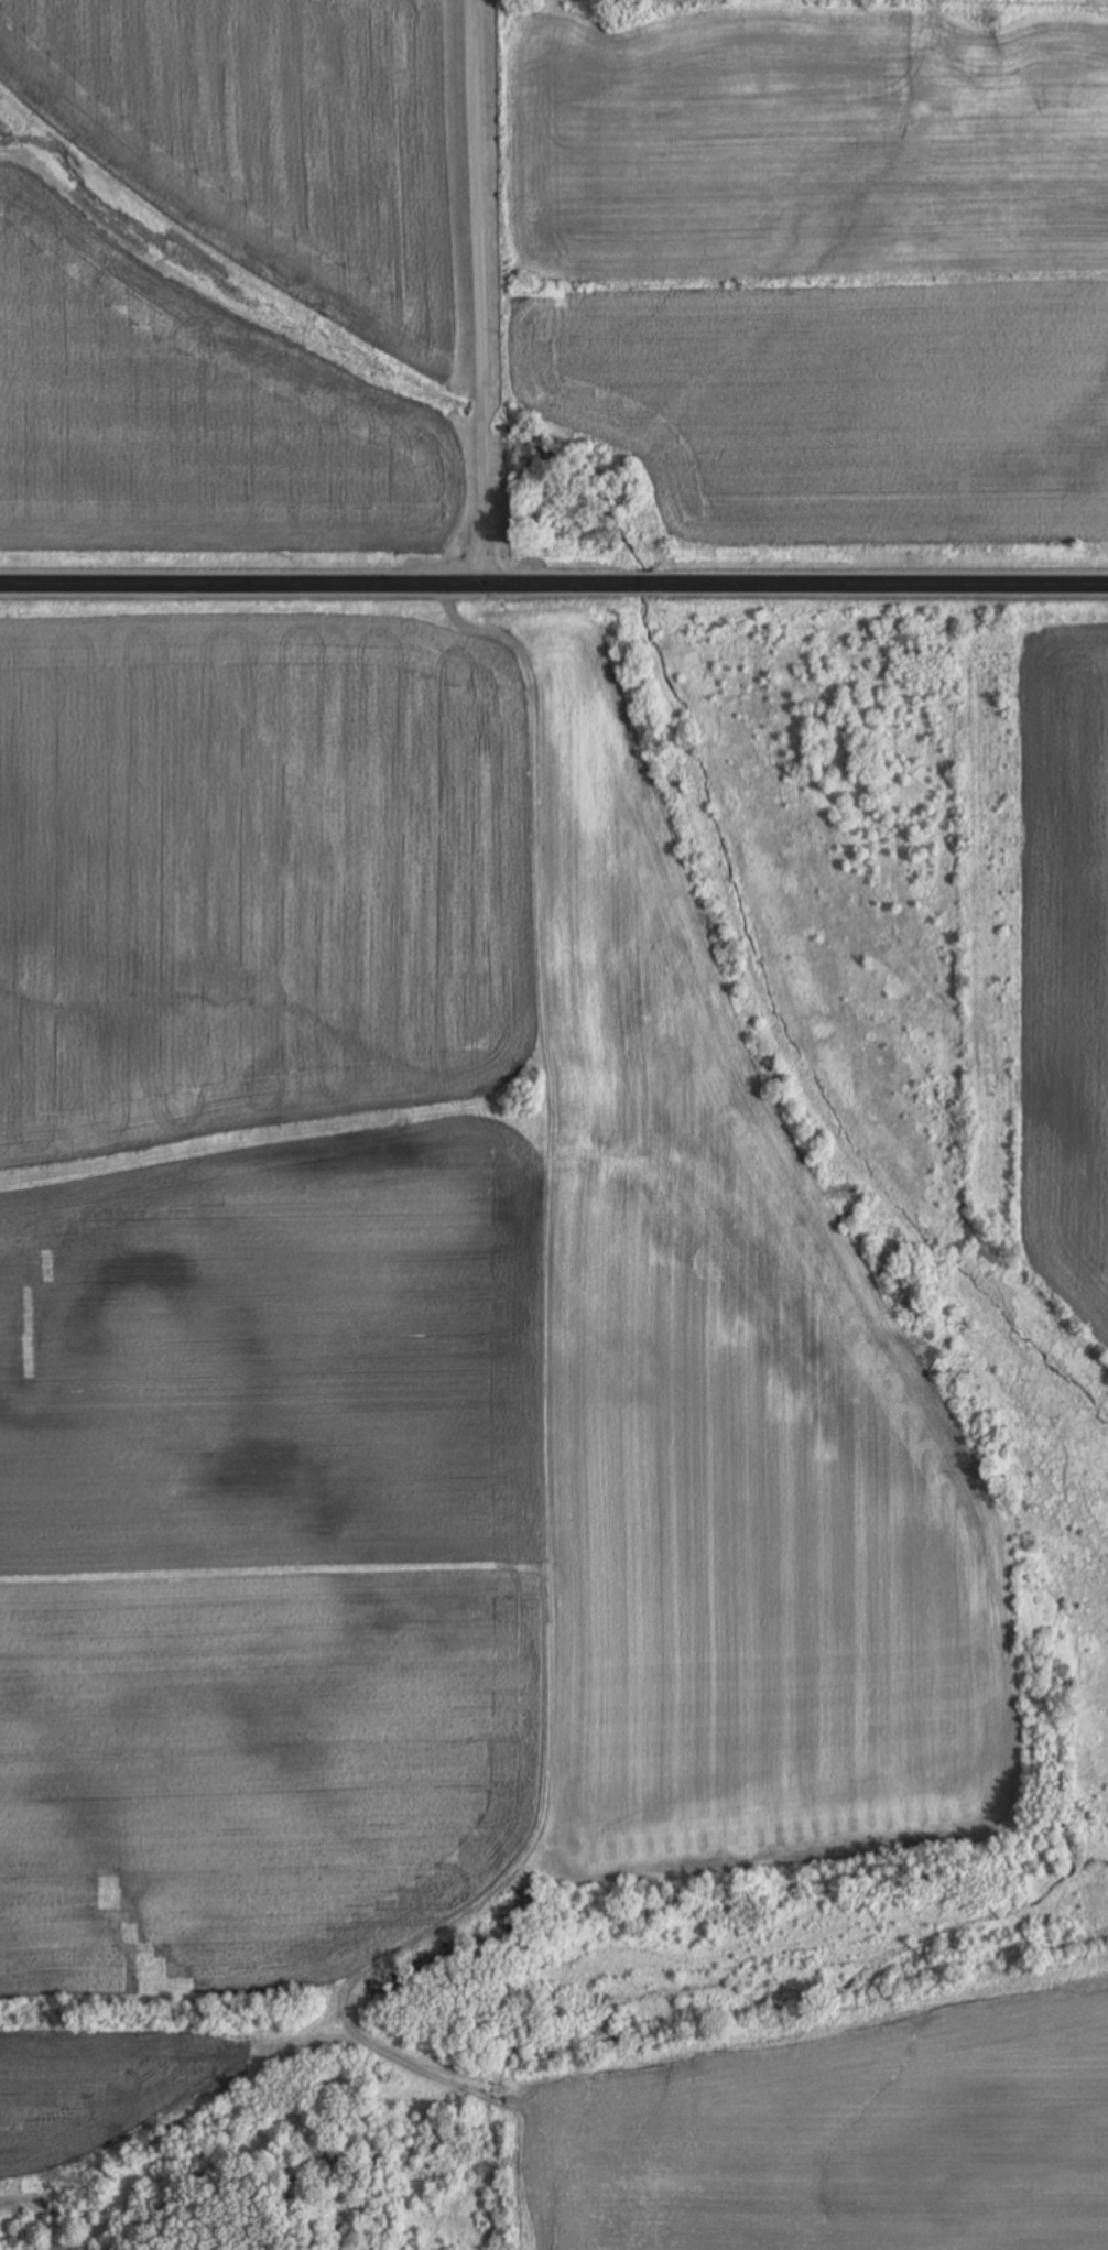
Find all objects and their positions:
road: (554, 577)

